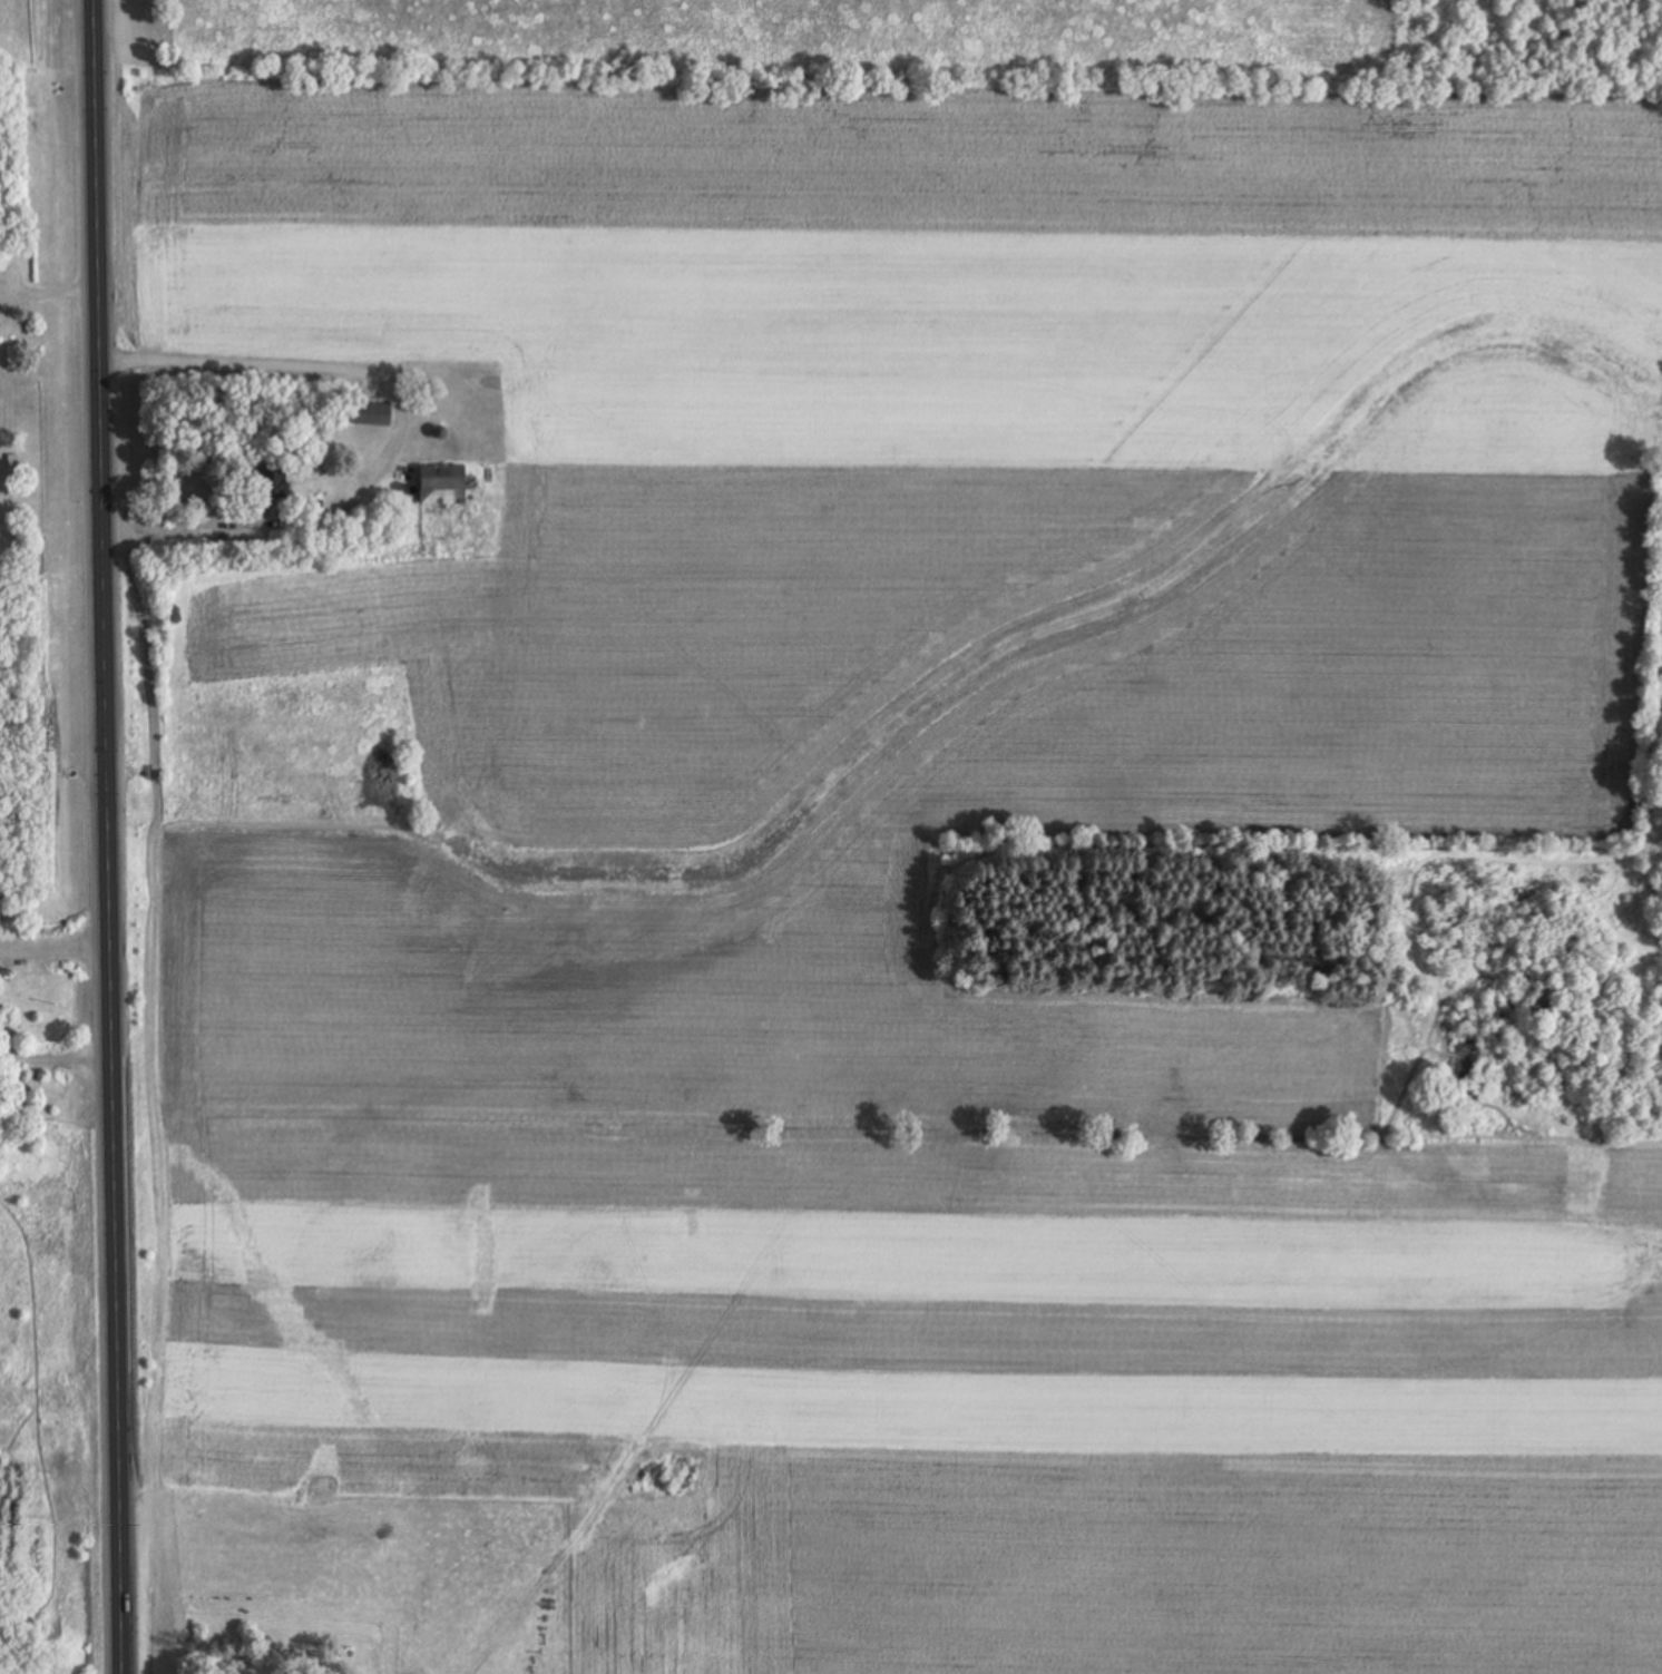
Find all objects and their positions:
road: (302, 368)
building: (374, 415)
building: (271, 484)
building: (442, 486)
road: (108, 836)

